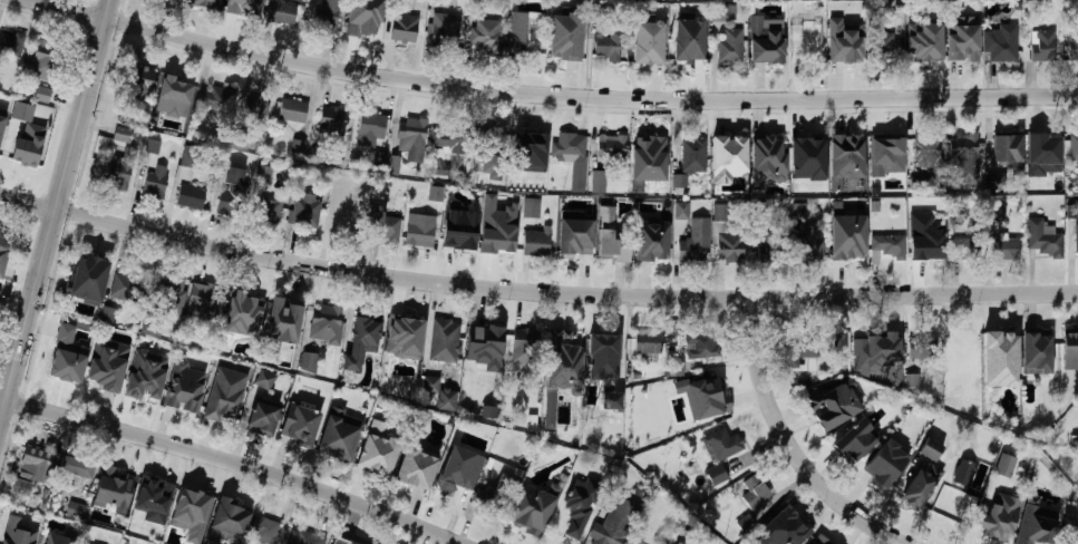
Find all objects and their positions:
building: (207, 3)
building: (242, 7)
building: (281, 12)
building: (723, 12)
building: (326, 14)
building: (657, 14)
building: (367, 21)
building: (402, 28)
building: (444, 31)
building: (485, 33)
building: (517, 33)
building: (688, 39)
building: (805, 43)
building: (963, 43)
building: (1002, 43)
building: (10, 45)
building: (606, 45)
building: (924, 46)
building: (1041, 46)
building: (1071, 46)
building: (524, 47)
building: (729, 47)
building: (883, 47)
building: (566, 48)
building: (645, 48)
building: (843, 48)
building: (765, 49)
building: (41, 57)
building: (137, 82)
building: (176, 91)
building: (40, 94)
road: (555, 95)
building: (213, 100)
building: (253, 105)
building: (291, 110)
building: (37, 114)
building: (1, 123)
building: (329, 126)
building: (411, 129)
building: (369, 130)
building: (120, 134)
building: (489, 138)
building: (445, 139)
building: (528, 139)
building: (19, 143)
building: (887, 144)
building: (570, 145)
building: (1004, 145)
building: (298, 146)
building: (610, 146)
building: (1042, 146)
building: (962, 147)
building: (807, 148)
building: (1074, 148)
building: (649, 149)
building: (726, 149)
building: (925, 149)
building: (767, 150)
building: (845, 150)
building: (692, 156)
building: (377, 158)
building: (396, 158)
building: (186, 162)
building: (116, 172)
building: (264, 172)
building: (679, 181)
building: (996, 181)
building: (154, 182)
building: (596, 182)
building: (435, 193)
building: (190, 196)
building: (230, 198)
building: (532, 207)
building: (266, 210)
building: (799, 210)
building: (916, 210)
building: (303, 211)
building: (680, 211)
building: (1071, 212)
building: (719, 213)
road: (57, 214)
building: (998, 214)
building: (343, 217)
building: (380, 224)
building: (418, 230)
building: (457, 234)
building: (1075, 235)
building: (498, 237)
building: (609, 237)
building: (1042, 237)
building: (1, 240)
building: (809, 242)
building: (535, 243)
building: (574, 243)
building: (693, 243)
building: (729, 245)
building: (929, 245)
building: (846, 246)
building: (885, 246)
building: (768, 247)
building: (967, 247)
building: (650, 249)
building: (1004, 249)
building: (87, 278)
building: (125, 288)
road: (534, 291)
building: (169, 295)
building: (204, 298)
building: (246, 303)
building: (285, 313)
building: (108, 314)
building: (326, 323)
building: (402, 326)
building: (362, 333)
building: (444, 341)
building: (647, 343)
building: (699, 343)
building: (841, 343)
building: (1038, 343)
building: (1071, 344)
building: (485, 347)
building: (523, 347)
building: (566, 347)
building: (868, 347)
building: (66, 348)
building: (921, 349)
building: (799, 350)
building: (605, 351)
building: (961, 351)
building: (1000, 359)
building: (309, 362)
building: (106, 365)
building: (145, 376)
building: (912, 380)
building: (263, 381)
building: (950, 382)
building: (429, 385)
building: (182, 387)
building: (224, 395)
building: (447, 399)
building: (611, 400)
building: (710, 400)
building: (831, 405)
building: (488, 410)
building: (260, 415)
building: (299, 425)
building: (855, 440)
building: (334, 441)
building: (722, 444)
road: (794, 444)
building: (375, 454)
road: (234, 462)
building: (878, 464)
building: (1004, 465)
building: (416, 468)
building: (458, 469)
building: (75, 470)
building: (31, 472)
building: (715, 475)
building: (923, 475)
building: (110, 489)
building: (148, 489)
building: (757, 494)
building: (492, 498)
building: (188, 504)
building: (580, 505)
building: (951, 506)
building: (76, 509)
building: (531, 509)
building: (154, 516)
building: (229, 516)
building: (992, 517)
building: (17, 523)
building: (566, 523)
building: (615, 523)
building: (785, 523)
building: (1033, 528)
building: (263, 531)
building: (1072, 536)
building: (302, 537)
building: (58, 538)
building: (814, 540)
building: (339, 541)
building: (2, 543)
building: (677, 543)

